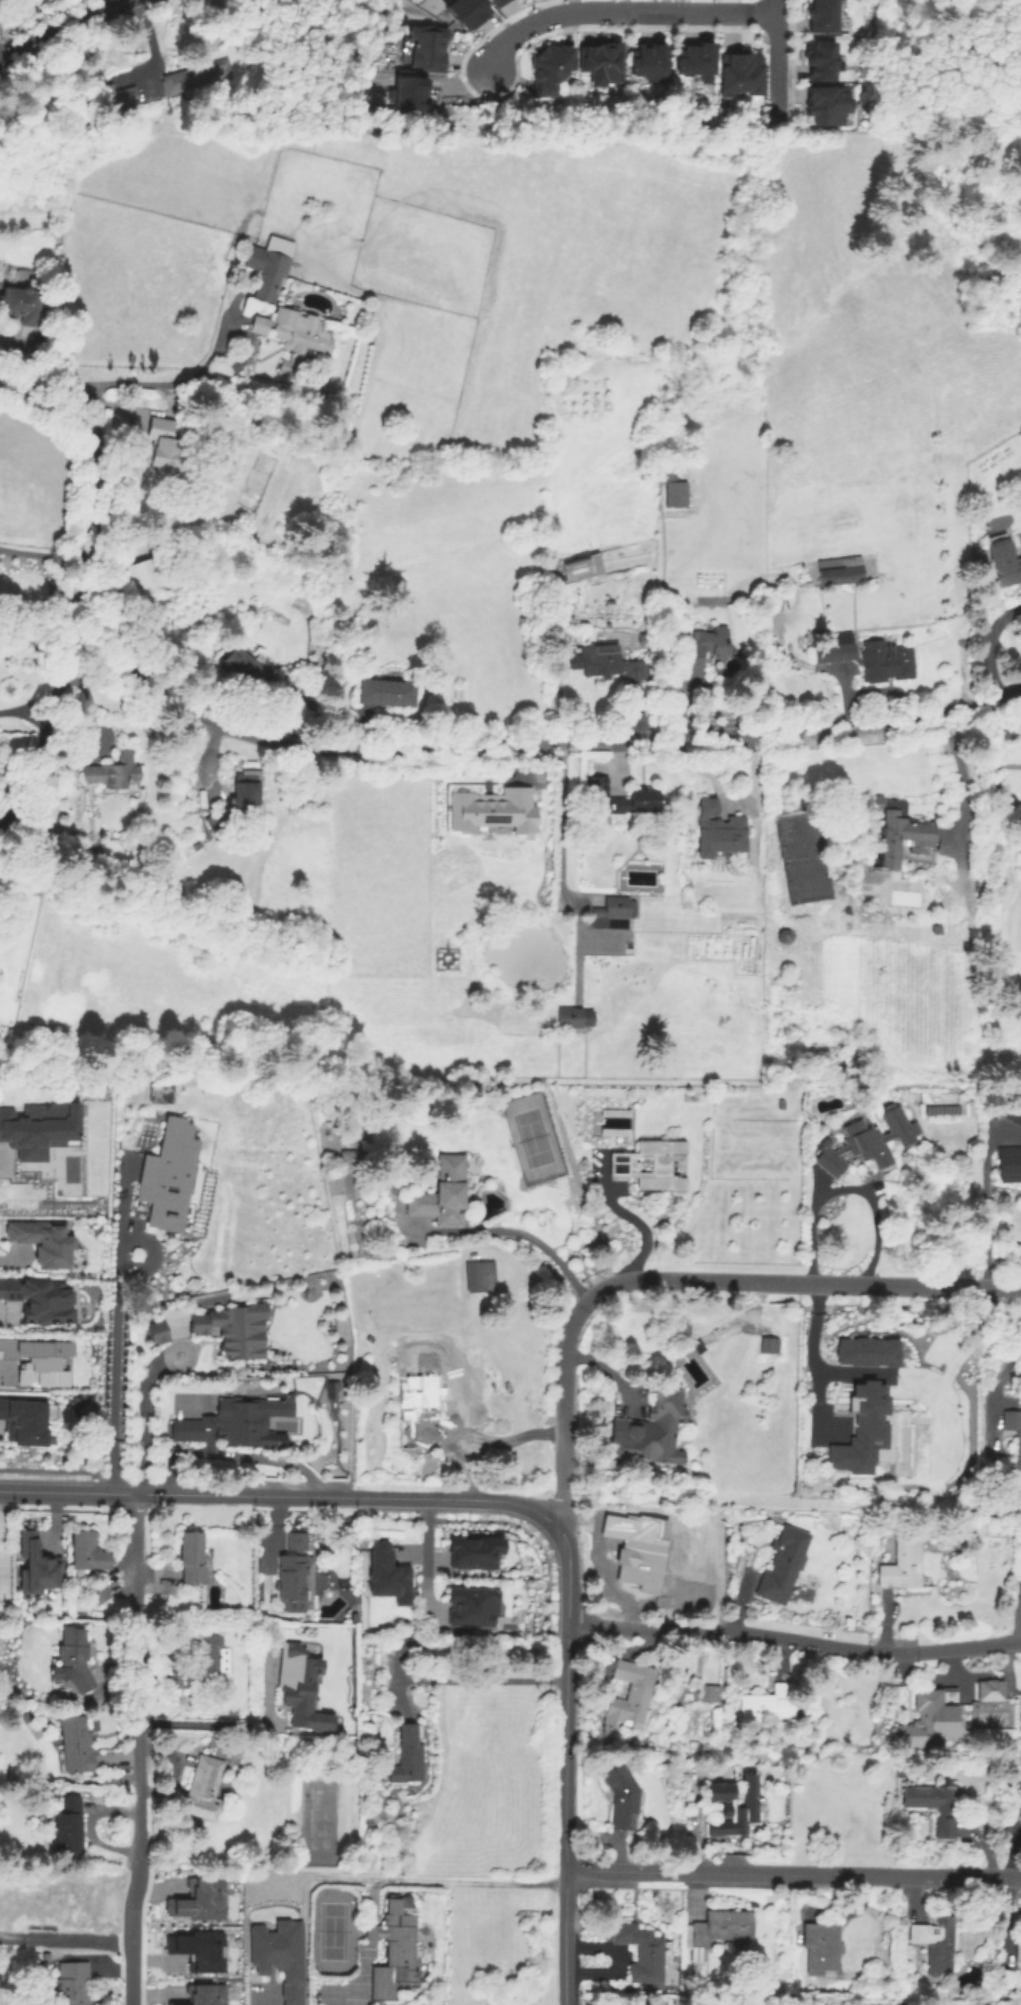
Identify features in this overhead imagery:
building: (489, 0)
building: (498, 2)
road: (783, 6)
road: (627, 11)
building: (465, 12)
building: (821, 16)
road: (61, 29)
road: (150, 39)
building: (432, 47)
building: (697, 59)
building: (819, 60)
building: (648, 61)
building: (601, 62)
building: (551, 68)
road: (782, 72)
building: (744, 73)
building: (196, 77)
building: (406, 92)
building: (113, 96)
building: (830, 102)
building: (268, 272)
building: (22, 302)
building: (45, 313)
building: (259, 325)
building: (300, 340)
road: (133, 387)
building: (167, 448)
building: (678, 495)
road: (46, 554)
building: (1004, 564)
building: (584, 569)
building: (840, 571)
building: (147, 573)
building: (569, 619)
road: (985, 644)
building: (705, 648)
building: (870, 658)
building: (609, 664)
building: (253, 676)
building: (387, 692)
road: (30, 702)
road: (56, 708)
road: (34, 721)
road: (384, 751)
building: (113, 771)
road: (958, 777)
building: (642, 792)
building: (239, 802)
road: (726, 802)
building: (709, 808)
building: (491, 809)
building: (902, 832)
building: (724, 837)
building: (92, 841)
building: (197, 845)
building: (947, 899)
building: (614, 913)
building: (1020, 997)
building: (572, 1017)
building: (162, 1090)
building: (782, 1104)
building: (1018, 1117)
building: (38, 1128)
park: (531, 1137)
building: (869, 1141)
building: (348, 1161)
building: (1010, 1163)
building: (654, 1164)
building: (171, 1176)
road: (844, 1187)
building: (442, 1191)
road: (636, 1222)
road: (984, 1223)
road: (524, 1234)
building: (41, 1240)
road: (5, 1268)
building: (481, 1277)
road: (688, 1280)
building: (37, 1299)
building: (237, 1332)
building: (159, 1334)
road: (114, 1335)
building: (769, 1345)
building: (698, 1348)
road: (809, 1350)
building: (868, 1350)
building: (36, 1359)
building: (424, 1396)
building: (23, 1419)
building: (238, 1423)
building: (1014, 1426)
road: (147, 1428)
building: (862, 1430)
building: (652, 1435)
building: (410, 1438)
road: (239, 1455)
building: (1018, 1466)
road: (67, 1492)
building: (296, 1541)
road: (425, 1547)
building: (87, 1551)
road: (565, 1551)
building: (641, 1551)
building: (477, 1552)
building: (191, 1557)
building: (37, 1565)
building: (783, 1565)
building: (902, 1565)
building: (391, 1573)
building: (292, 1576)
building: (97, 1593)
building: (476, 1607)
road: (793, 1640)
building: (404, 1646)
building: (73, 1659)
building: (207, 1662)
building: (980, 1675)
road: (470, 1676)
road: (137, 1682)
building: (294, 1690)
building: (987, 1690)
building: (632, 1692)
building: (710, 1693)
building: (766, 1705)
building: (987, 1715)
building: (926, 1719)
road: (206, 1723)
building: (75, 1744)
building: (407, 1755)
building: (900, 1774)
building: (201, 1789)
building: (623, 1798)
building: (734, 1807)
building: (936, 1807)
building: (67, 1824)
road: (792, 1873)
road: (445, 1879)
building: (70, 1899)
building: (196, 1900)
building: (8, 1909)
park: (332, 1931)
building: (718, 1931)
road: (371, 1933)
road: (132, 1938)
road: (66, 1940)
building: (934, 1944)
building: (818, 1947)
building: (394, 1948)
building: (197, 1950)
building: (1018, 1950)
building: (641, 1953)
building: (277, 1956)
road: (360, 1970)
building: (71, 1984)
building: (981, 1990)
building: (199, 1994)

